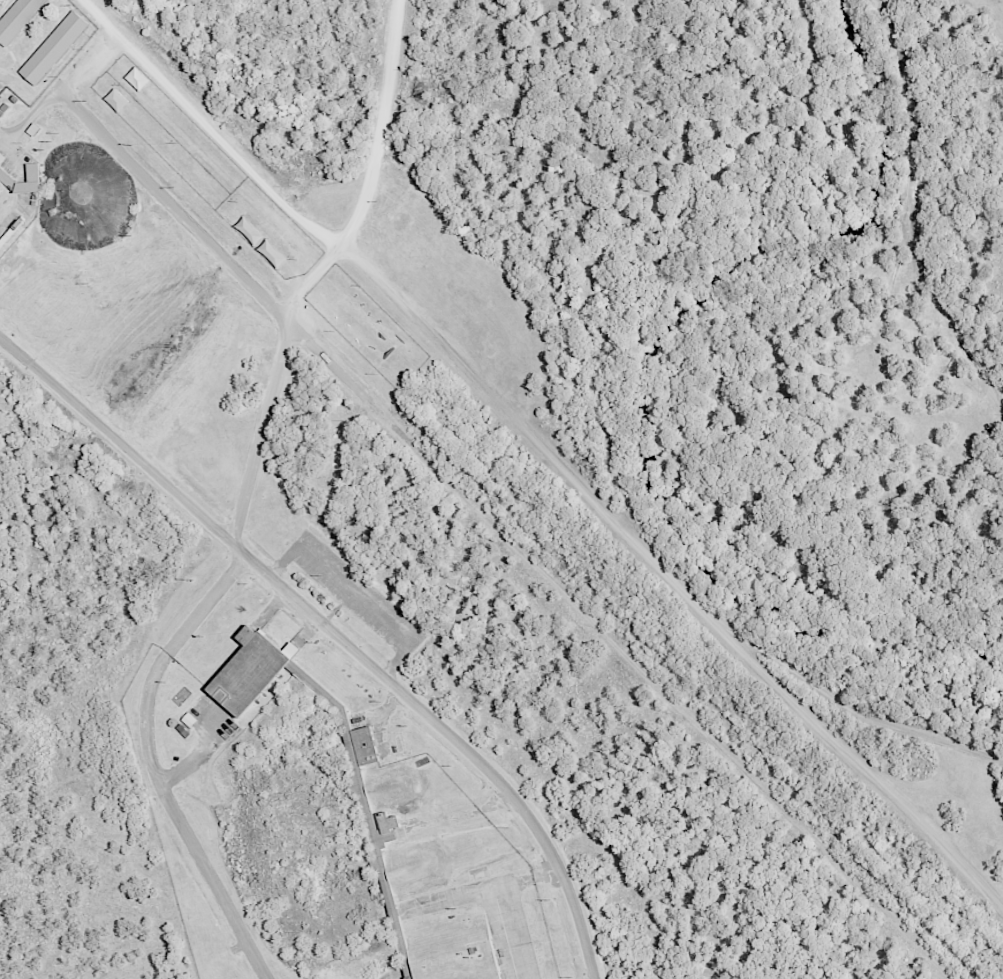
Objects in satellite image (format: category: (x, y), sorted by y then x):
building: (17, 18)
building: (54, 48)
building: (137, 78)
building: (116, 100)
road: (4, 139)
building: (1, 157)
building: (7, 178)
road: (163, 203)
road: (917, 214)
building: (249, 231)
road: (631, 247)
building: (272, 254)
road: (387, 282)
road: (245, 503)
road: (707, 619)
road: (332, 635)
road: (636, 667)
building: (249, 670)
building: (364, 745)
building: (357, 776)
building: (388, 822)

